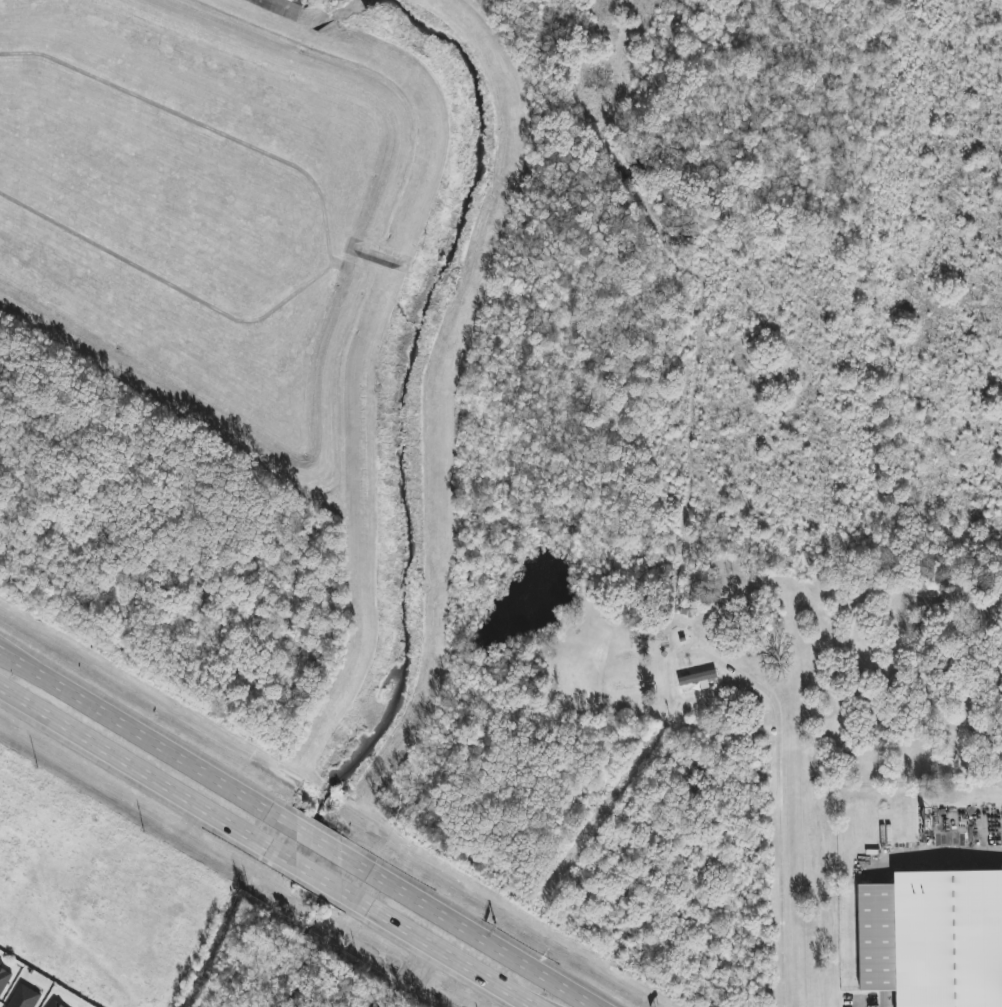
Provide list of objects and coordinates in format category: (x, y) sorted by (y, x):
building: (700, 681)
building: (633, 686)
road: (148, 741)
road: (147, 777)
road: (776, 799)
road: (318, 843)
road: (318, 879)
road: (465, 932)
building: (933, 938)
road: (436, 950)
building: (0, 962)
building: (4, 980)
building: (24, 997)
building: (56, 1004)
road: (858, 1004)

